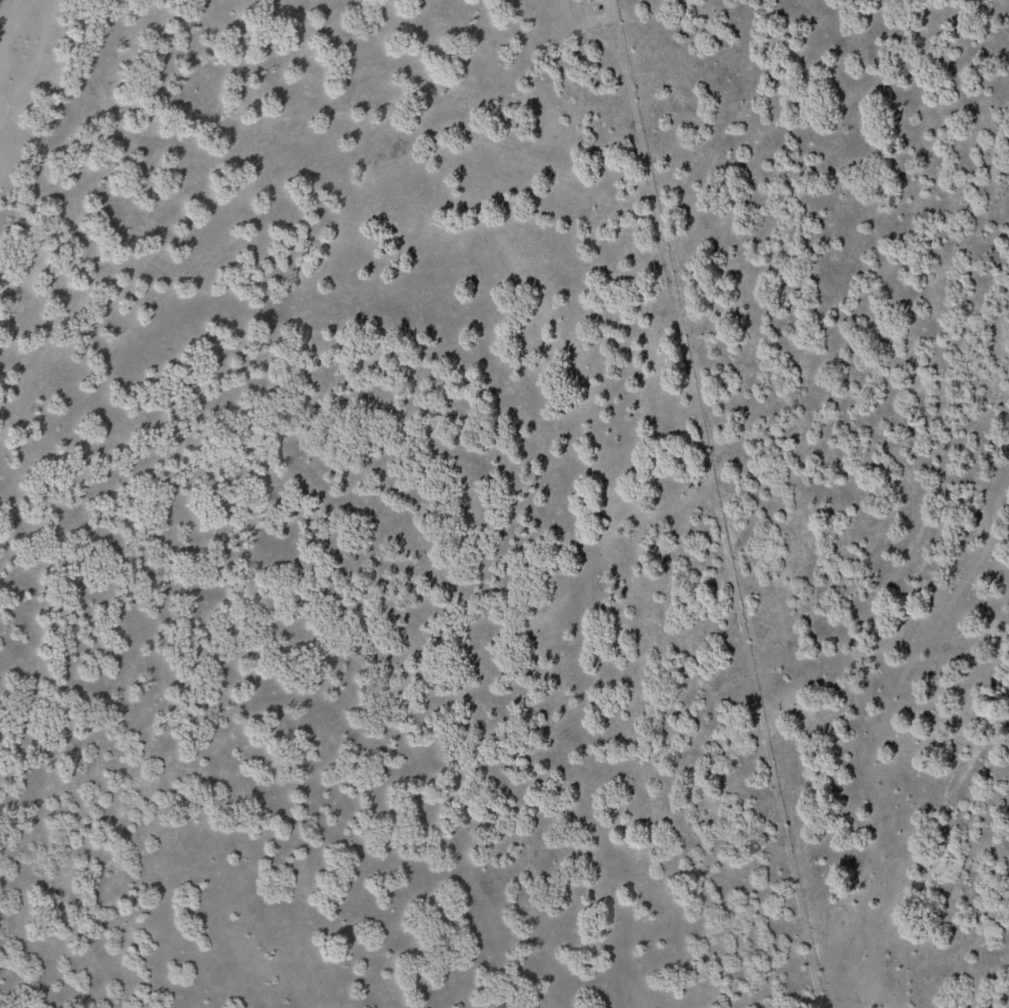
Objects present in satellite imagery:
road: (192, 298)

